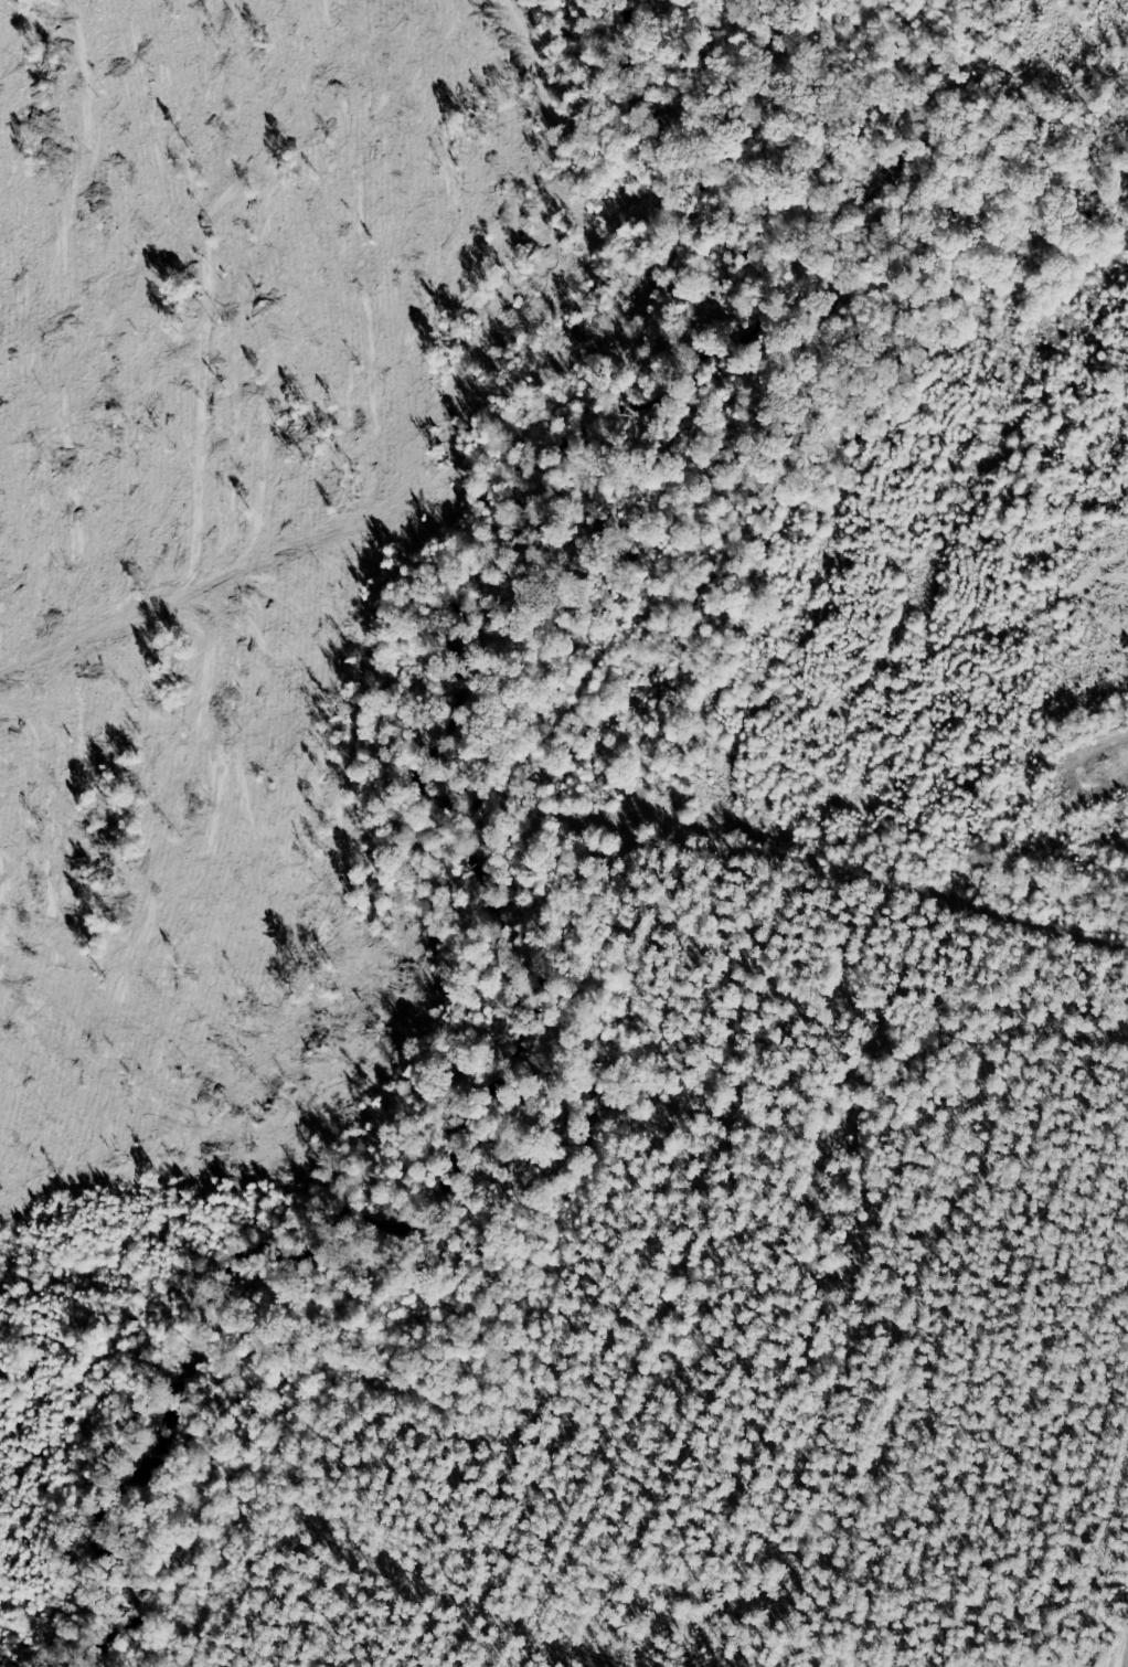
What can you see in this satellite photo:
road: (1126, 1661)

